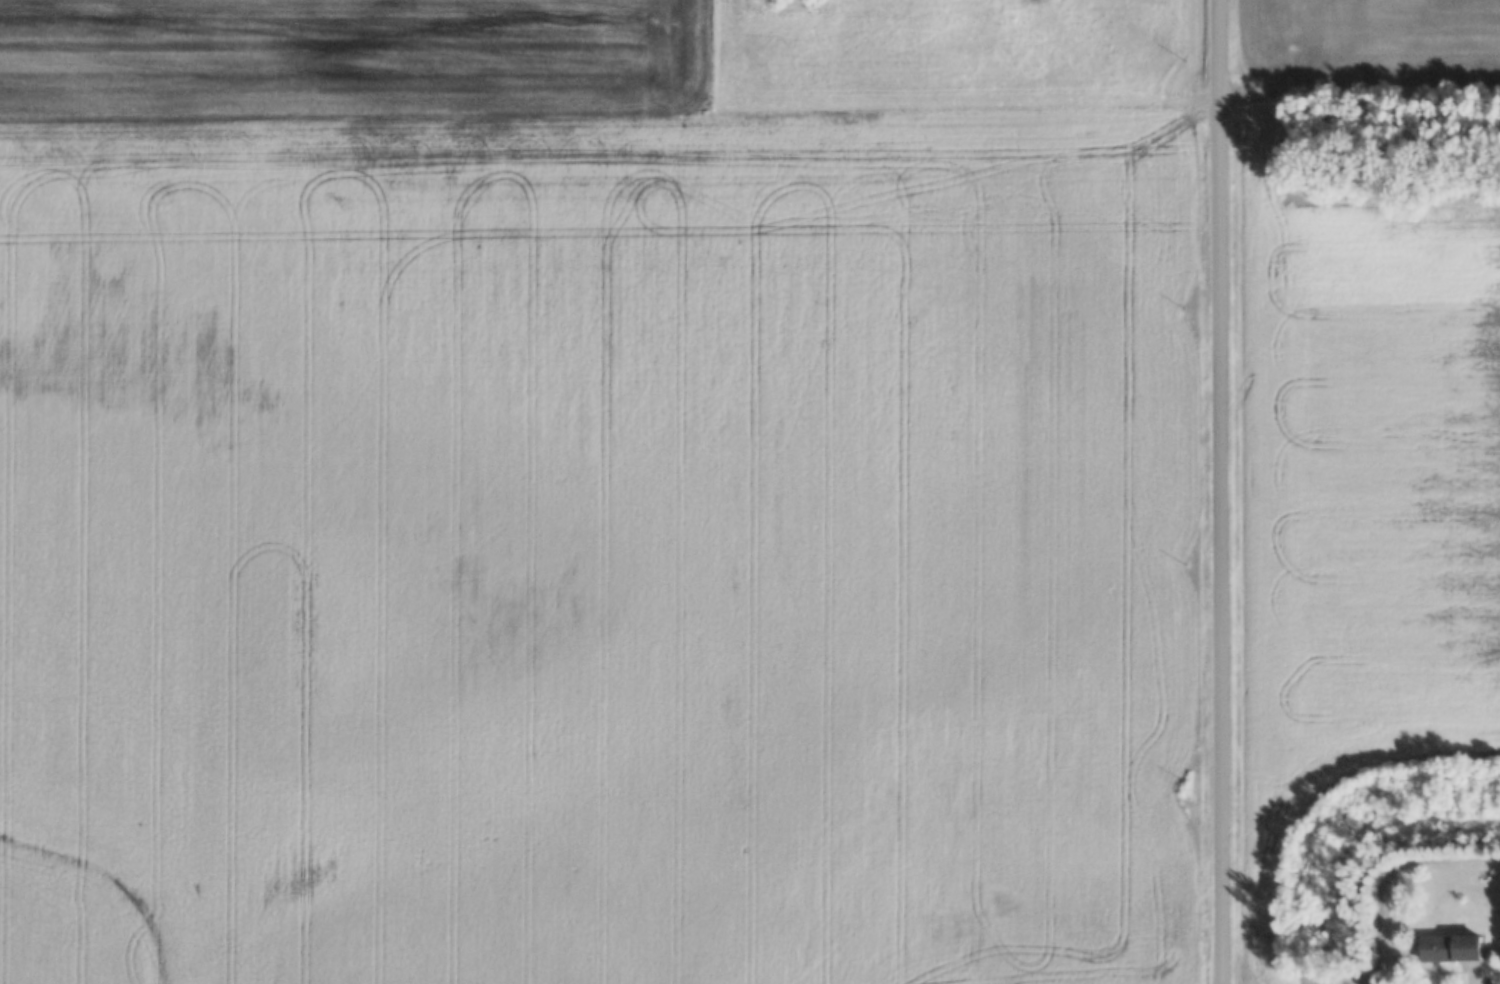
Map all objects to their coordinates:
road: (1223, 492)
building: (1447, 949)

